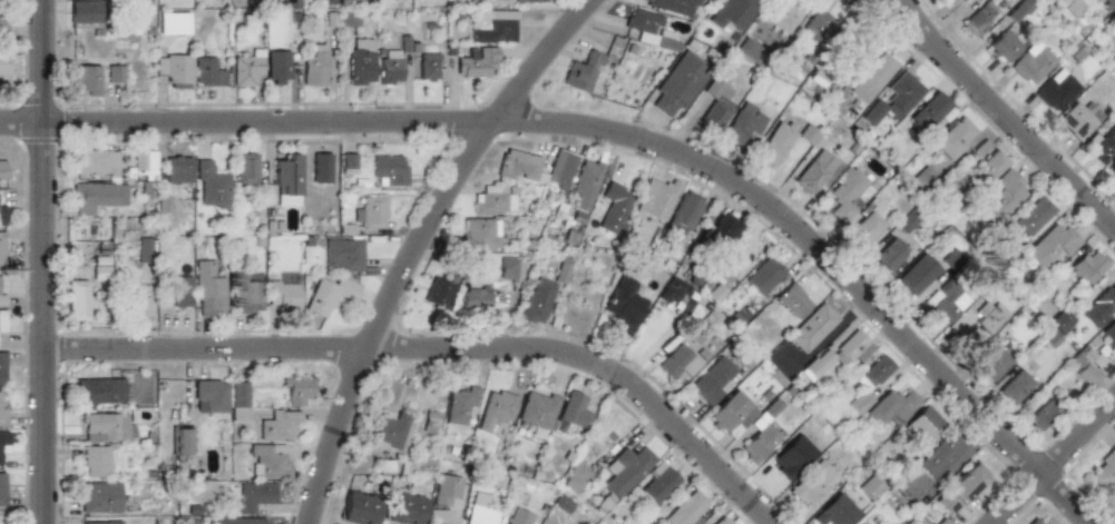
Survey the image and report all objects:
building: (531, 1)
building: (327, 2)
building: (346, 2)
building: (1106, 2)
building: (237, 3)
building: (291, 3)
building: (672, 6)
road: (889, 7)
building: (1018, 10)
building: (86, 13)
building: (732, 14)
building: (785, 16)
building: (348, 17)
building: (1111, 19)
building: (976, 20)
building: (162, 21)
building: (3, 22)
building: (816, 26)
building: (493, 27)
building: (649, 30)
building: (1113, 38)
building: (1004, 46)
building: (750, 50)
building: (360, 61)
building: (475, 62)
building: (4, 63)
building: (1031, 63)
building: (247, 67)
building: (277, 67)
building: (315, 67)
building: (390, 67)
building: (428, 67)
building: (175, 70)
building: (581, 71)
building: (207, 72)
building: (96, 73)
building: (873, 78)
building: (679, 82)
building: (812, 83)
building: (1056, 90)
building: (894, 99)
building: (716, 100)
building: (931, 111)
road: (1004, 112)
building: (1079, 119)
building: (743, 123)
road: (619, 132)
building: (808, 135)
building: (953, 138)
building: (775, 144)
building: (1104, 148)
building: (96, 161)
building: (349, 162)
building: (145, 165)
building: (245, 167)
building: (989, 167)
building: (177, 168)
building: (320, 168)
building: (536, 168)
building: (389, 169)
building: (2, 170)
building: (813, 171)
building: (923, 178)
building: (286, 179)
building: (585, 184)
building: (209, 186)
building: (844, 194)
building: (96, 195)
building: (1004, 196)
building: (656, 199)
building: (492, 200)
building: (614, 208)
building: (684, 212)
building: (1, 214)
building: (371, 214)
building: (1033, 216)
building: (722, 228)
building: (864, 229)
building: (480, 234)
road: (417, 244)
building: (1053, 245)
building: (2, 247)
building: (146, 248)
building: (343, 254)
building: (889, 255)
building: (953, 257)
road: (43, 261)
building: (1089, 266)
building: (506, 269)
building: (100, 273)
building: (722, 273)
building: (918, 274)
building: (763, 276)
building: (208, 289)
building: (671, 290)
building: (182, 291)
building: (438, 293)
building: (283, 294)
building: (1, 295)
building: (245, 295)
building: (330, 295)
building: (473, 298)
building: (77, 299)
building: (792, 300)
building: (536, 301)
building: (1105, 301)
building: (139, 303)
building: (945, 303)
building: (623, 305)
building: (683, 306)
building: (991, 316)
building: (2, 322)
building: (1062, 322)
building: (812, 328)
building: (1109, 334)
road: (441, 349)
building: (839, 356)
building: (1090, 356)
building: (990, 362)
building: (677, 363)
building: (2, 368)
building: (877, 372)
building: (1085, 374)
building: (713, 380)
building: (1015, 387)
building: (295, 389)
building: (100, 390)
building: (209, 396)
building: (238, 401)
building: (860, 402)
building: (458, 405)
building: (892, 407)
building: (2, 408)
building: (536, 409)
building: (495, 411)
building: (570, 412)
building: (1041, 414)
building: (732, 415)
building: (923, 424)
building: (277, 425)
building: (106, 427)
building: (385, 429)
building: (4, 436)
building: (183, 442)
building: (759, 442)
building: (941, 455)
building: (793, 457)
building: (268, 459)
building: (98, 461)
road: (1054, 463)
building: (1104, 468)
building: (625, 471)
building: (574, 477)
building: (658, 483)
building: (811, 483)
building: (870, 487)
building: (961, 488)
building: (2, 490)
building: (443, 490)
building: (253, 495)
building: (100, 496)
building: (1112, 502)
building: (358, 507)
building: (402, 508)
building: (478, 508)
building: (686, 511)
building: (837, 512)
building: (437, 516)
building: (518, 516)
building: (239, 521)
building: (721, 521)
building: (1035, 521)
building: (100, 522)

